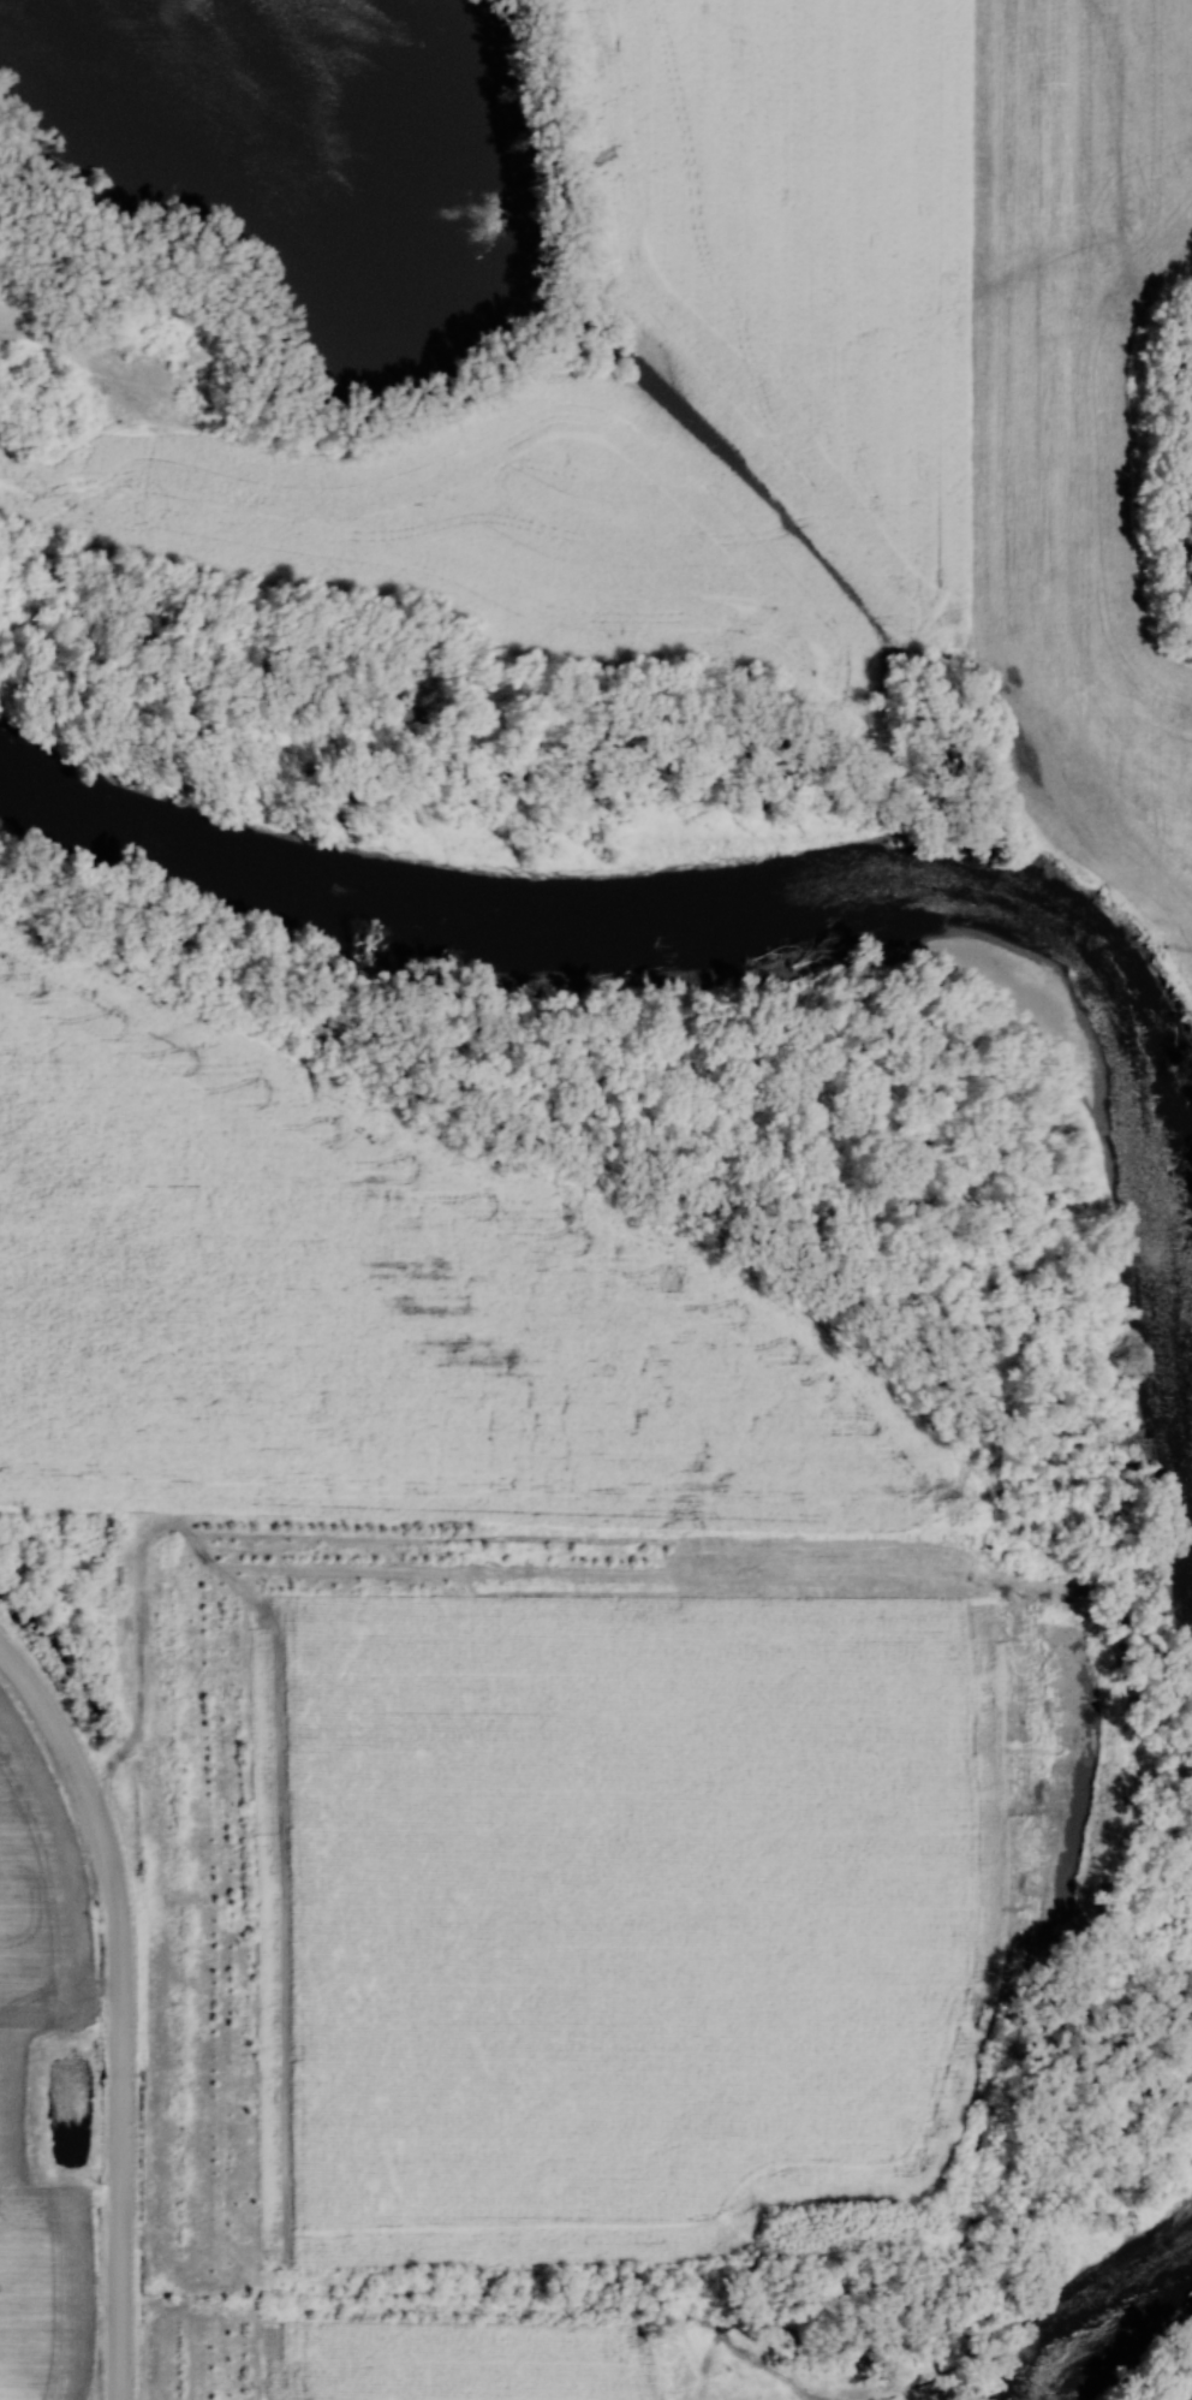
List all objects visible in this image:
river: (695, 895)
road: (126, 2007)
river: (1109, 2313)

